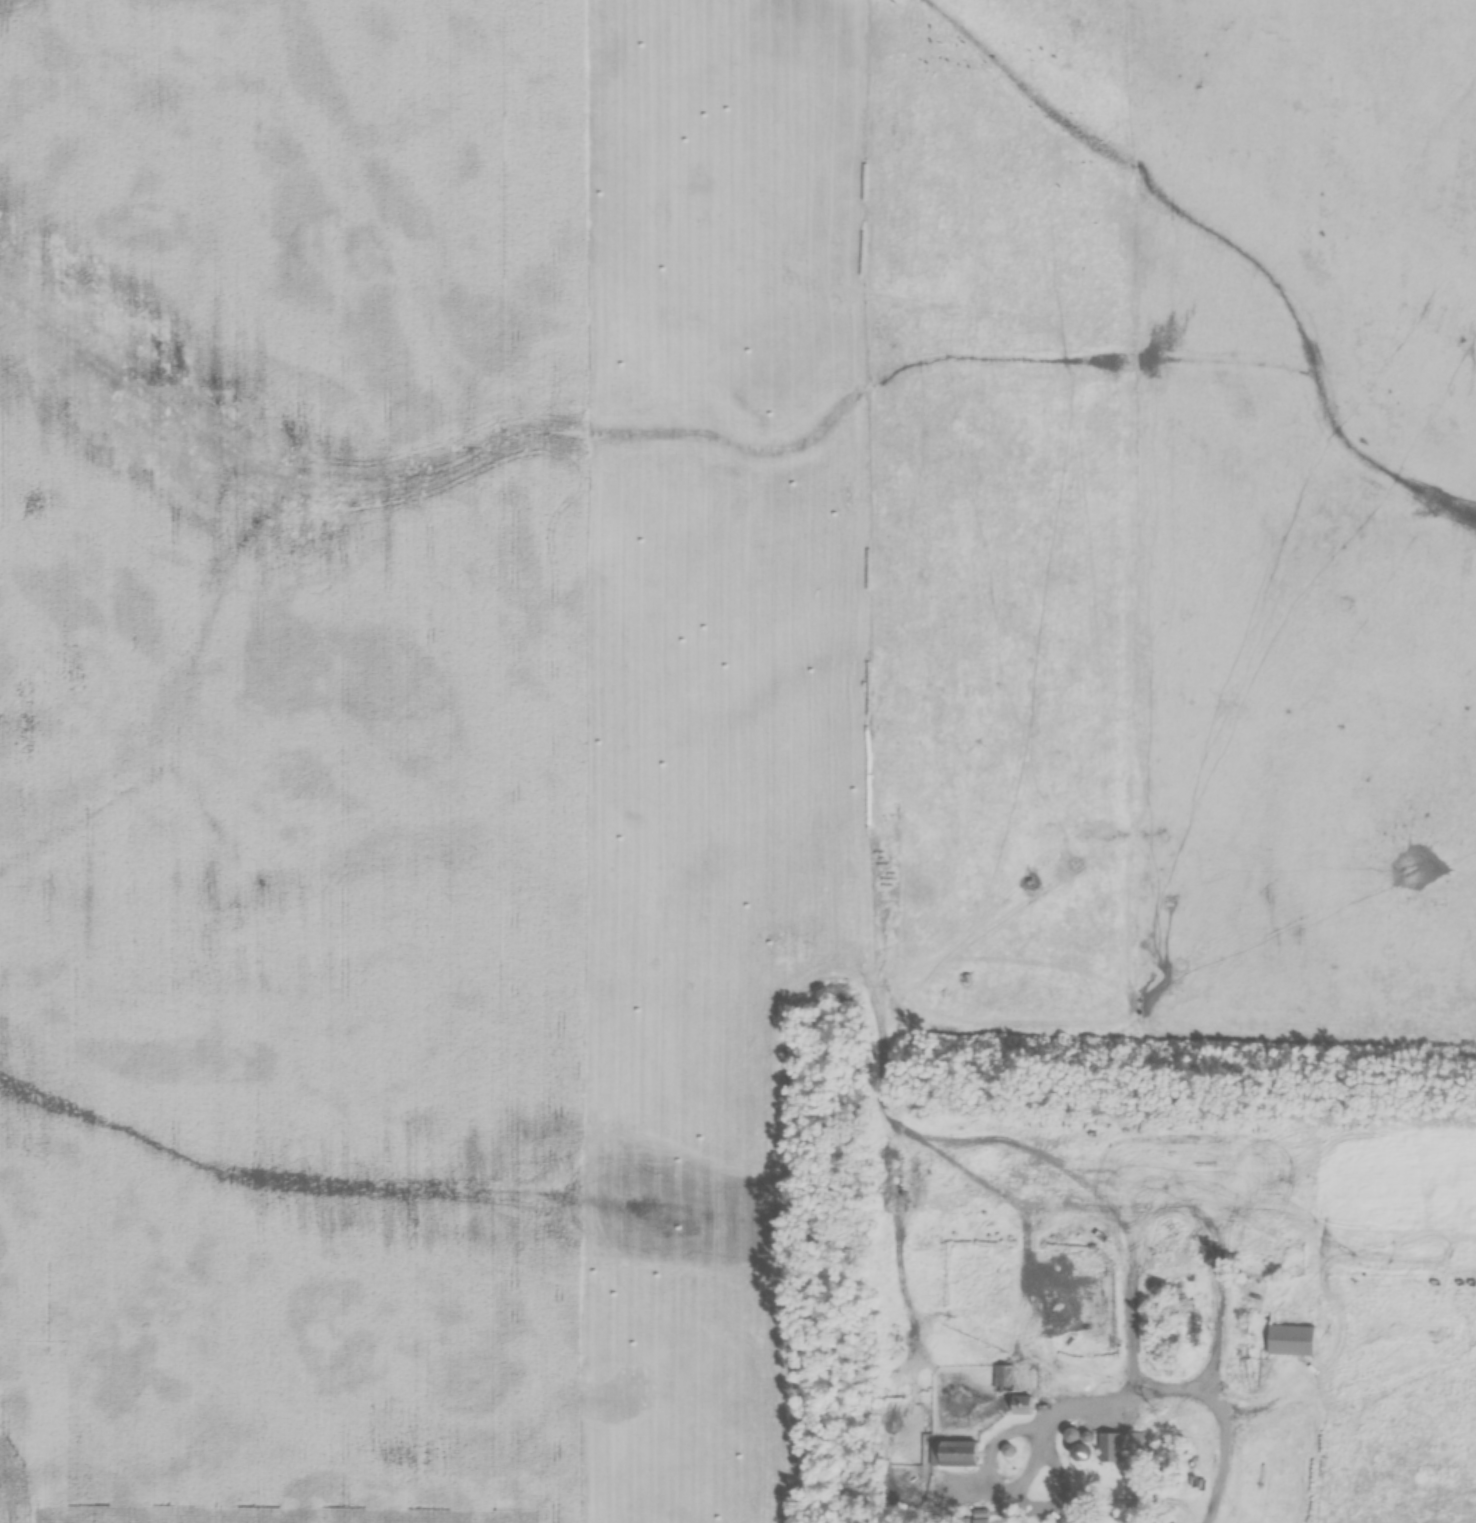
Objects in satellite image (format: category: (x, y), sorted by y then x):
building: (1294, 1340)
building: (1005, 1378)
building: (1025, 1405)
building: (1120, 1445)
building: (958, 1454)

